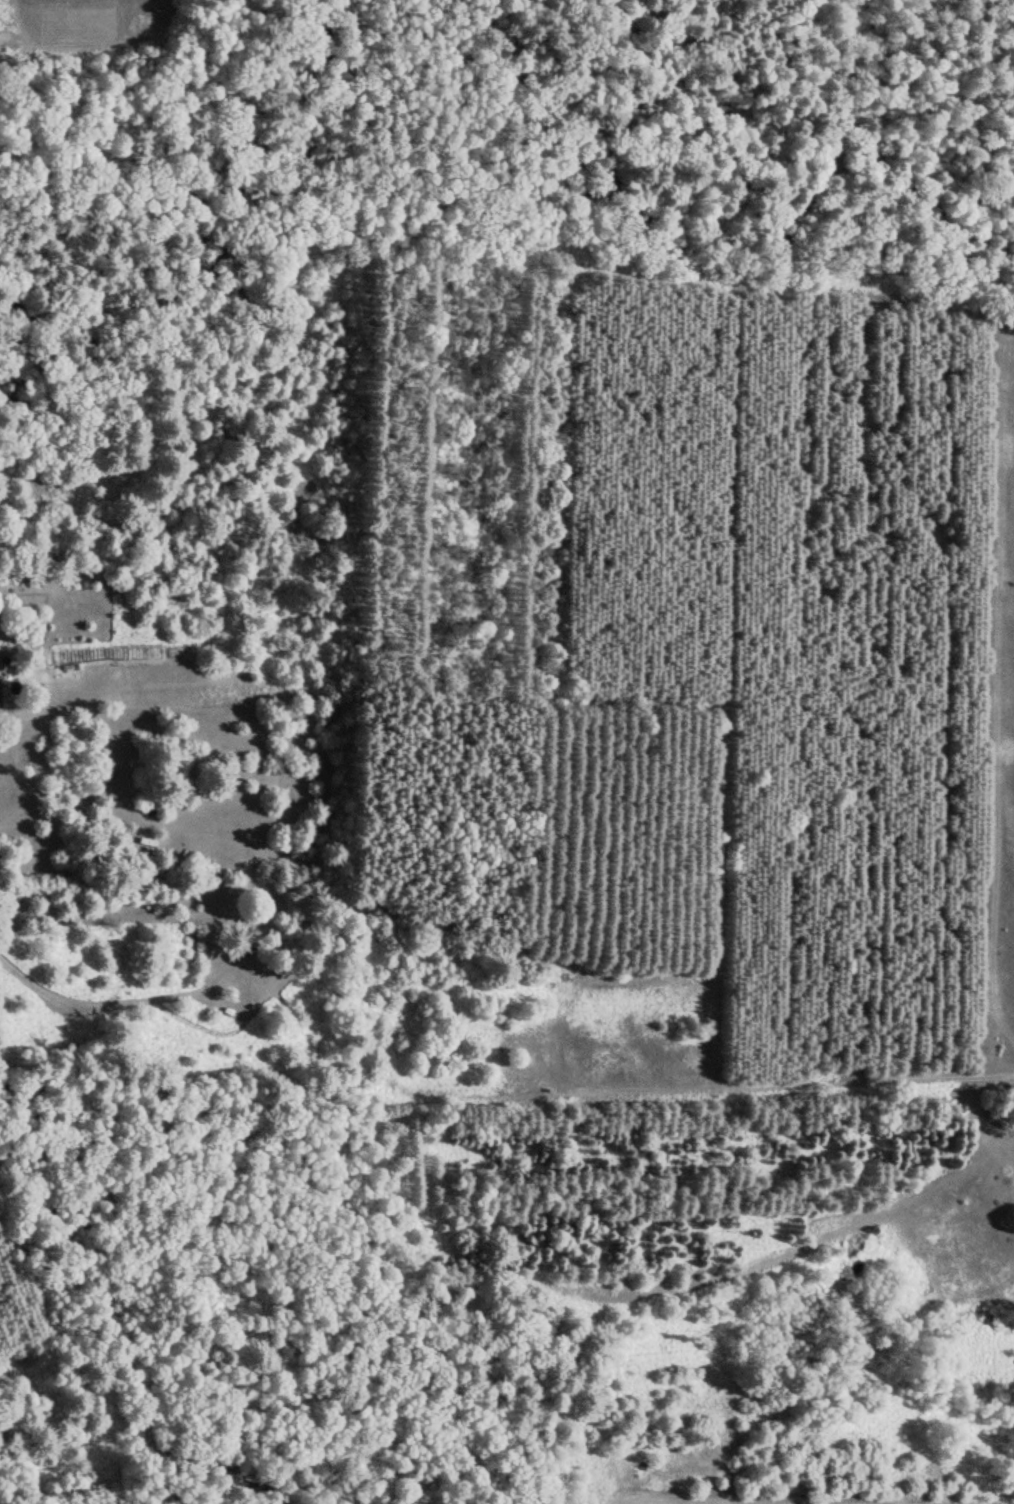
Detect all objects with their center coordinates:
crop: (649, 1493)

